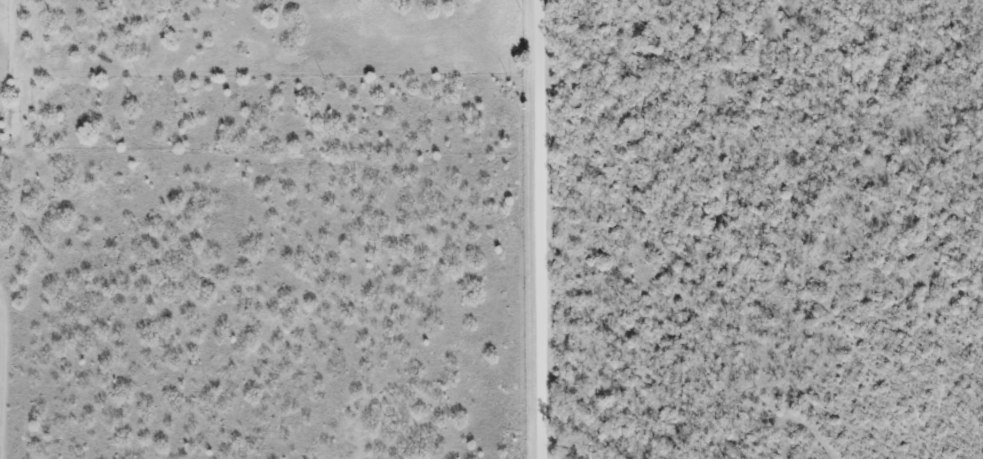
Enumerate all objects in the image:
road: (540, 229)

